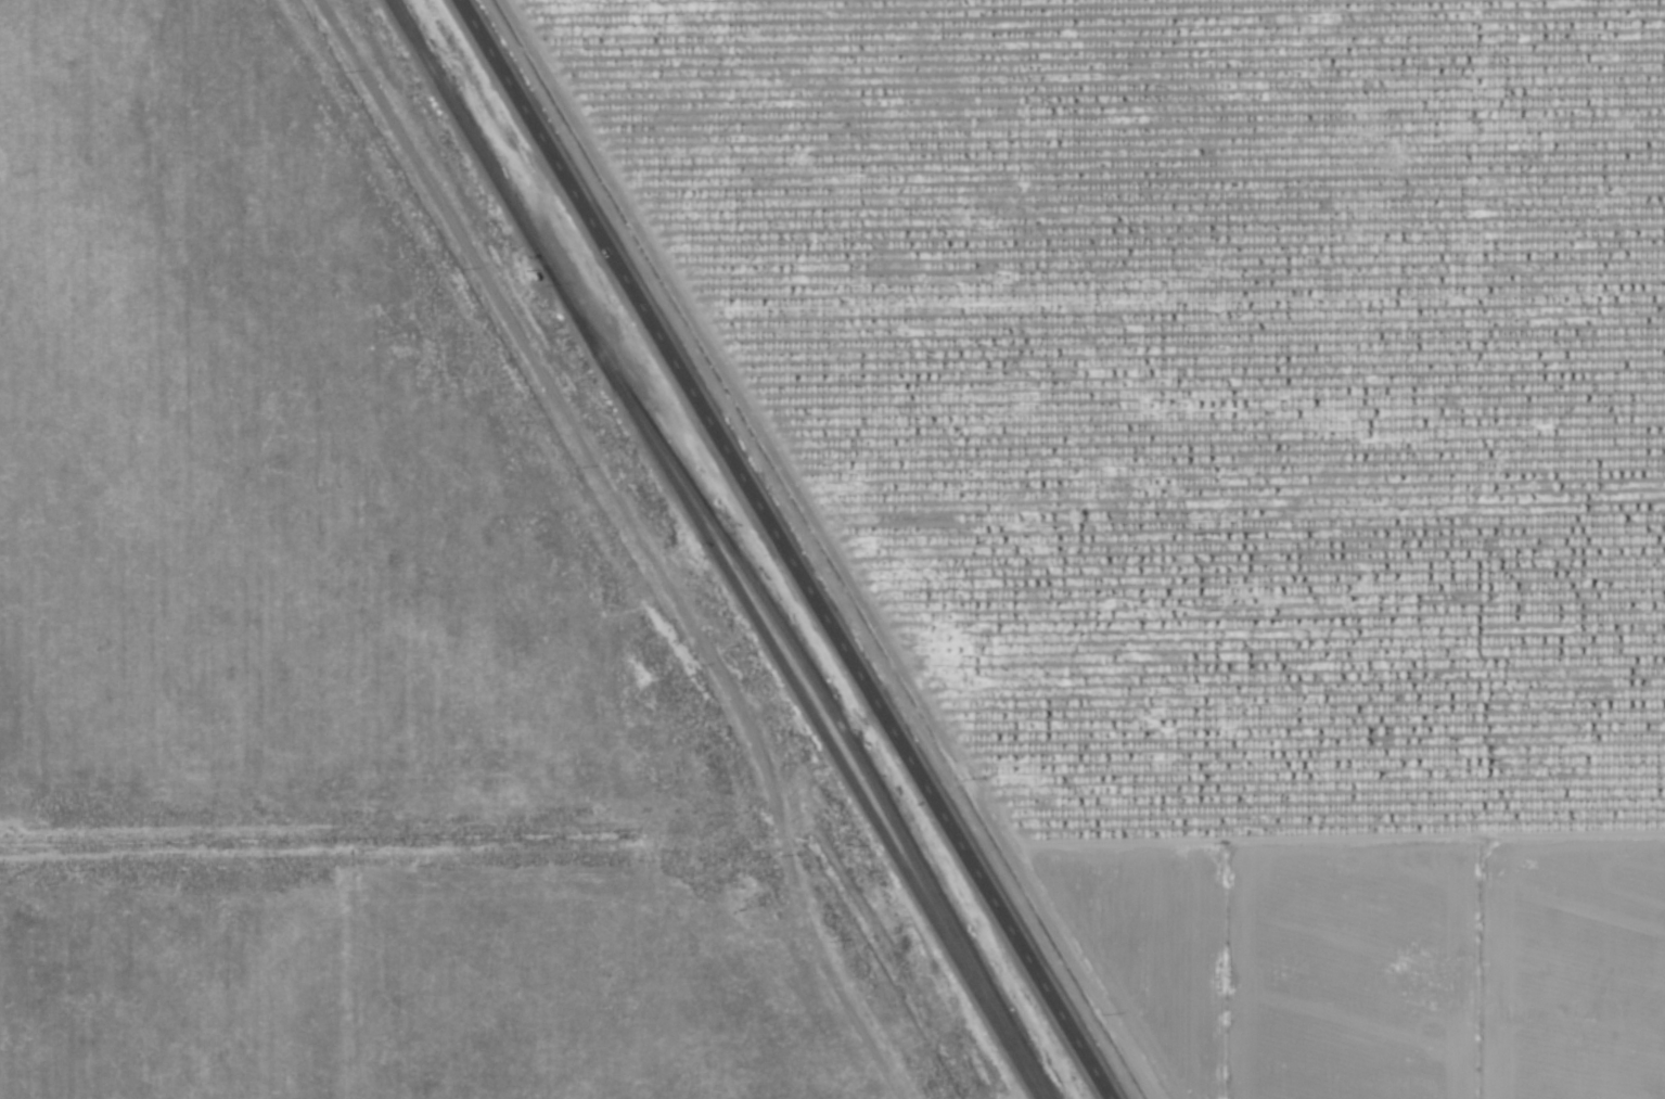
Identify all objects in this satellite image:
railway: (495, 184)
building: (705, 515)
road: (642, 537)
road: (790, 549)
park: (252, 593)
crop: (438, 621)
railway: (836, 726)
railway: (819, 733)

